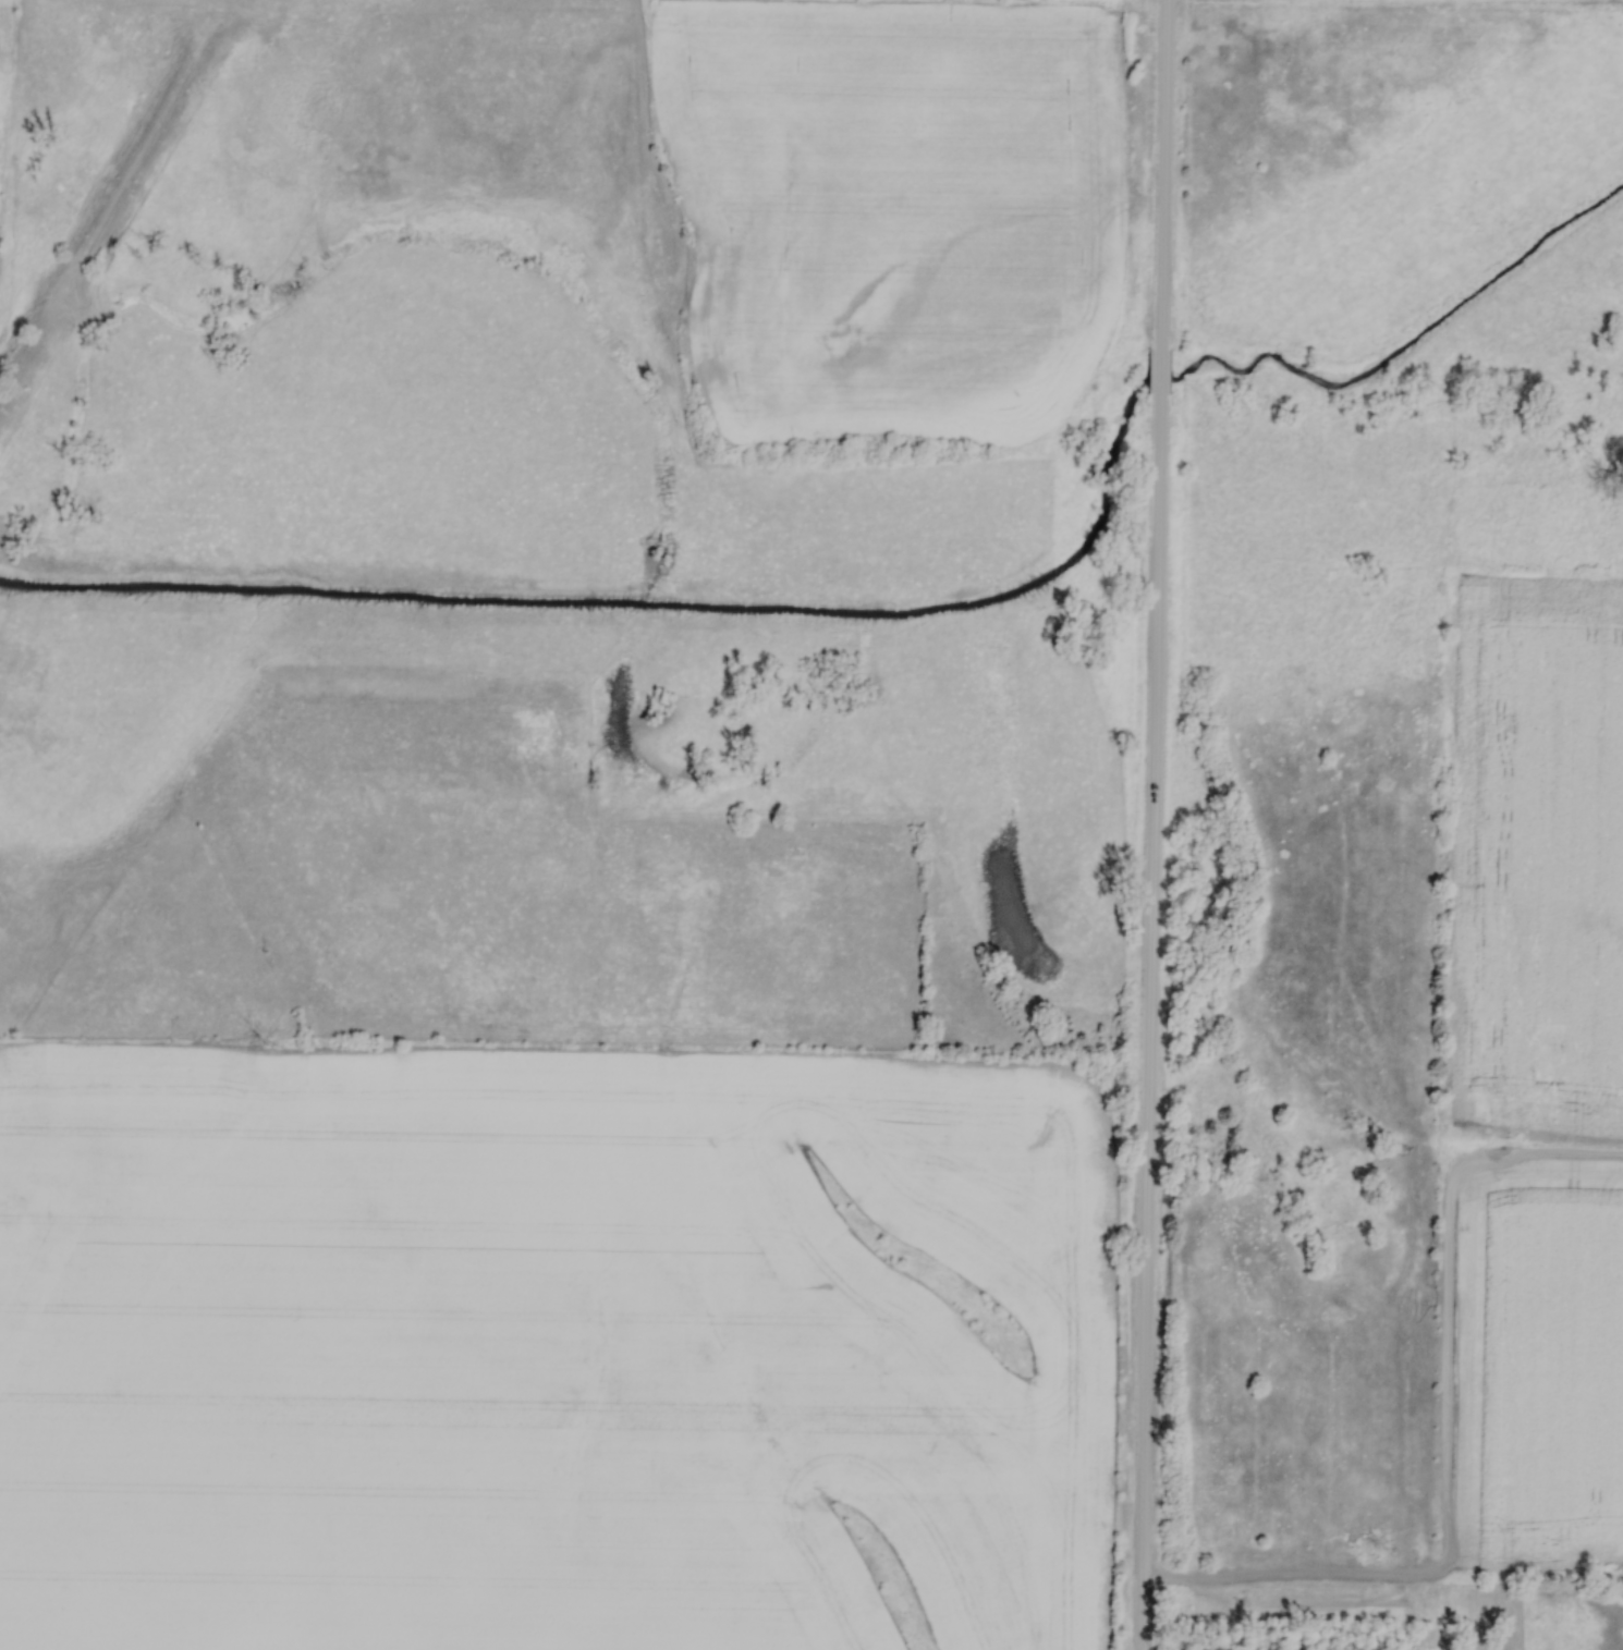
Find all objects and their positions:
road: (1151, 824)

